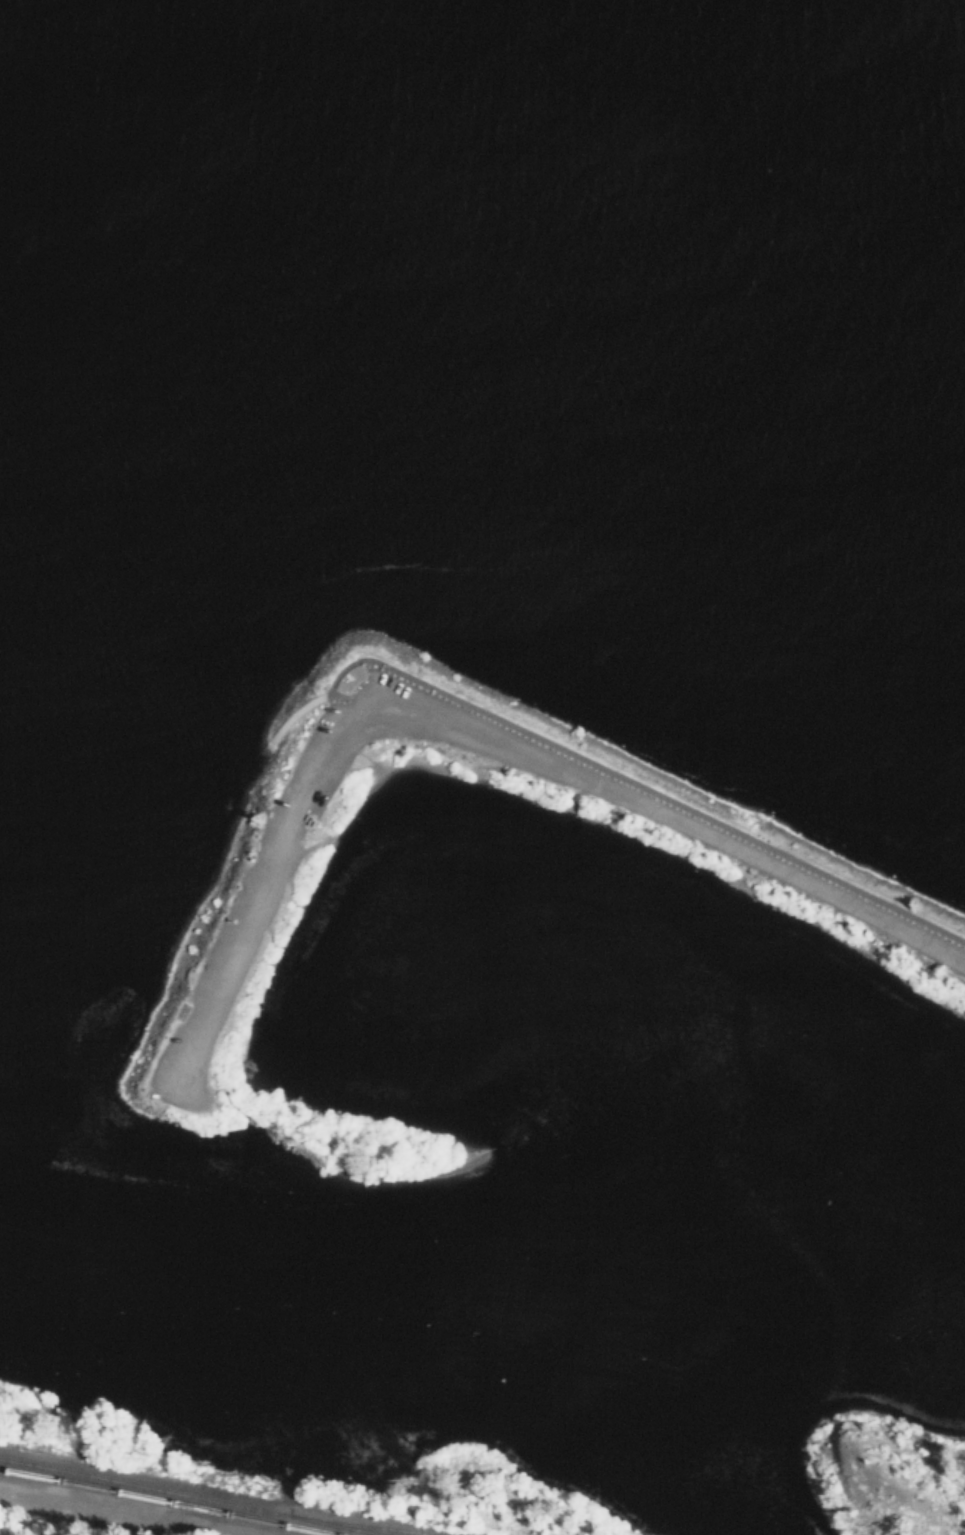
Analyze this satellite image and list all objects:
road: (293, 713)
road: (472, 732)
parking lot: (300, 757)
road: (362, 757)
road: (456, 760)
road: (633, 774)
parking lot: (644, 800)
road: (261, 808)
building: (263, 817)
building: (307, 820)
parking lot: (817, 899)
park: (848, 903)
parking lot: (224, 915)
parking lot: (246, 947)
road: (184, 985)
parking lot: (163, 1059)
park: (883, 1476)
railway: (192, 1497)
railway: (167, 1502)
road: (71, 1509)

